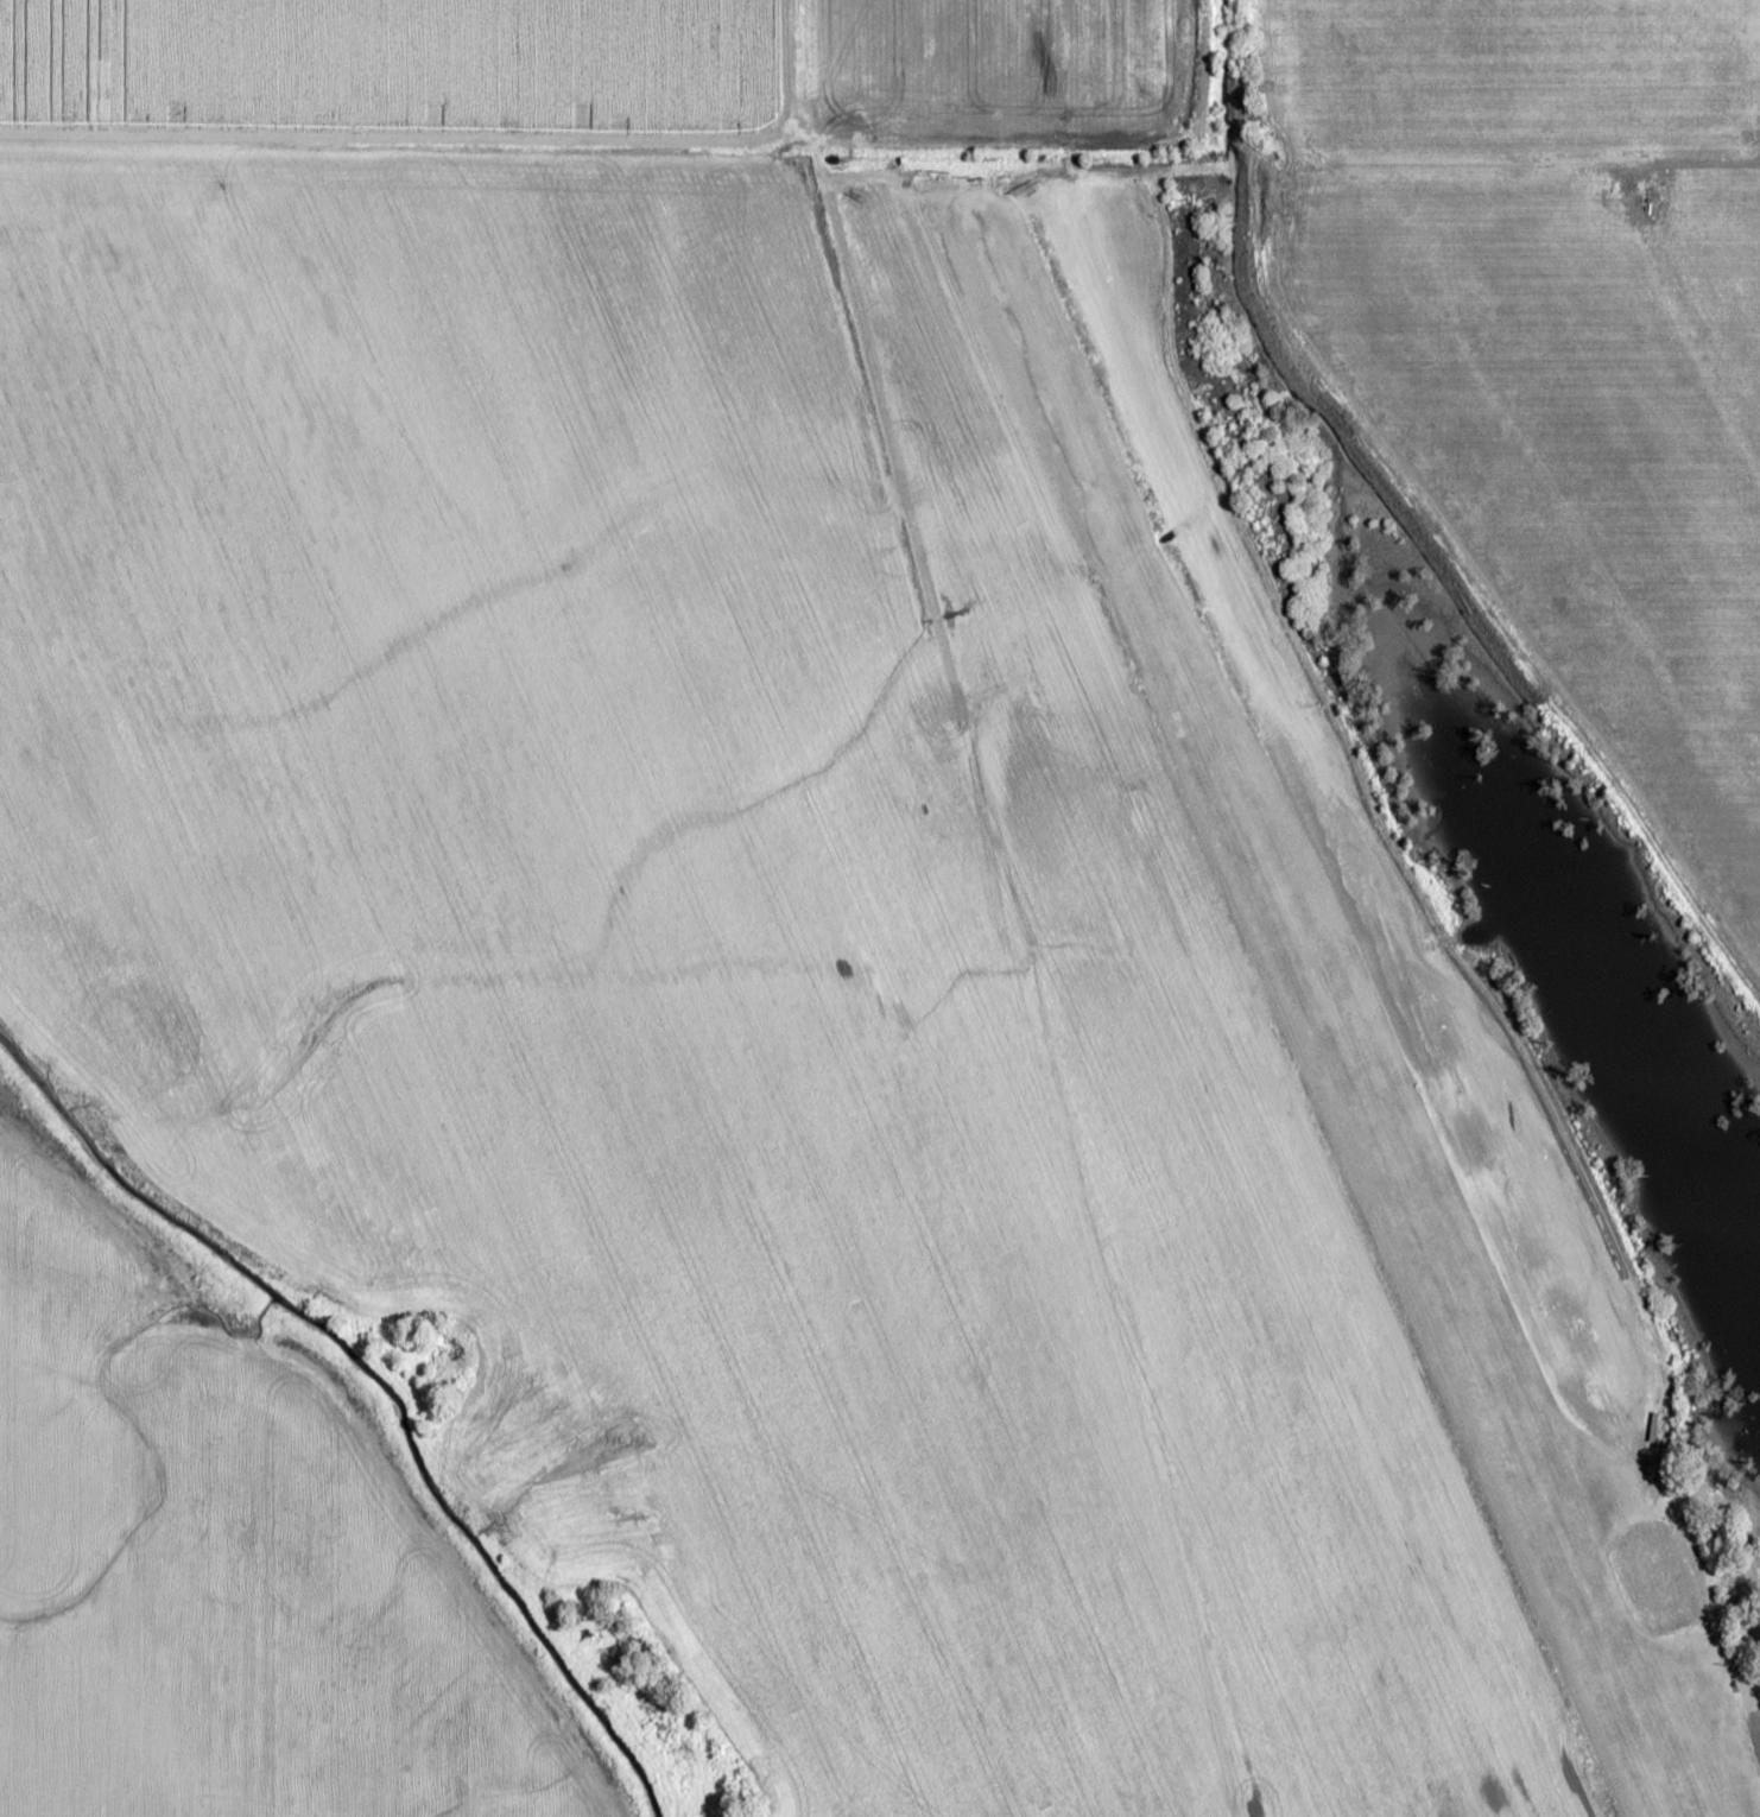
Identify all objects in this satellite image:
road: (781, 74)
road: (880, 151)
road: (1032, 982)

